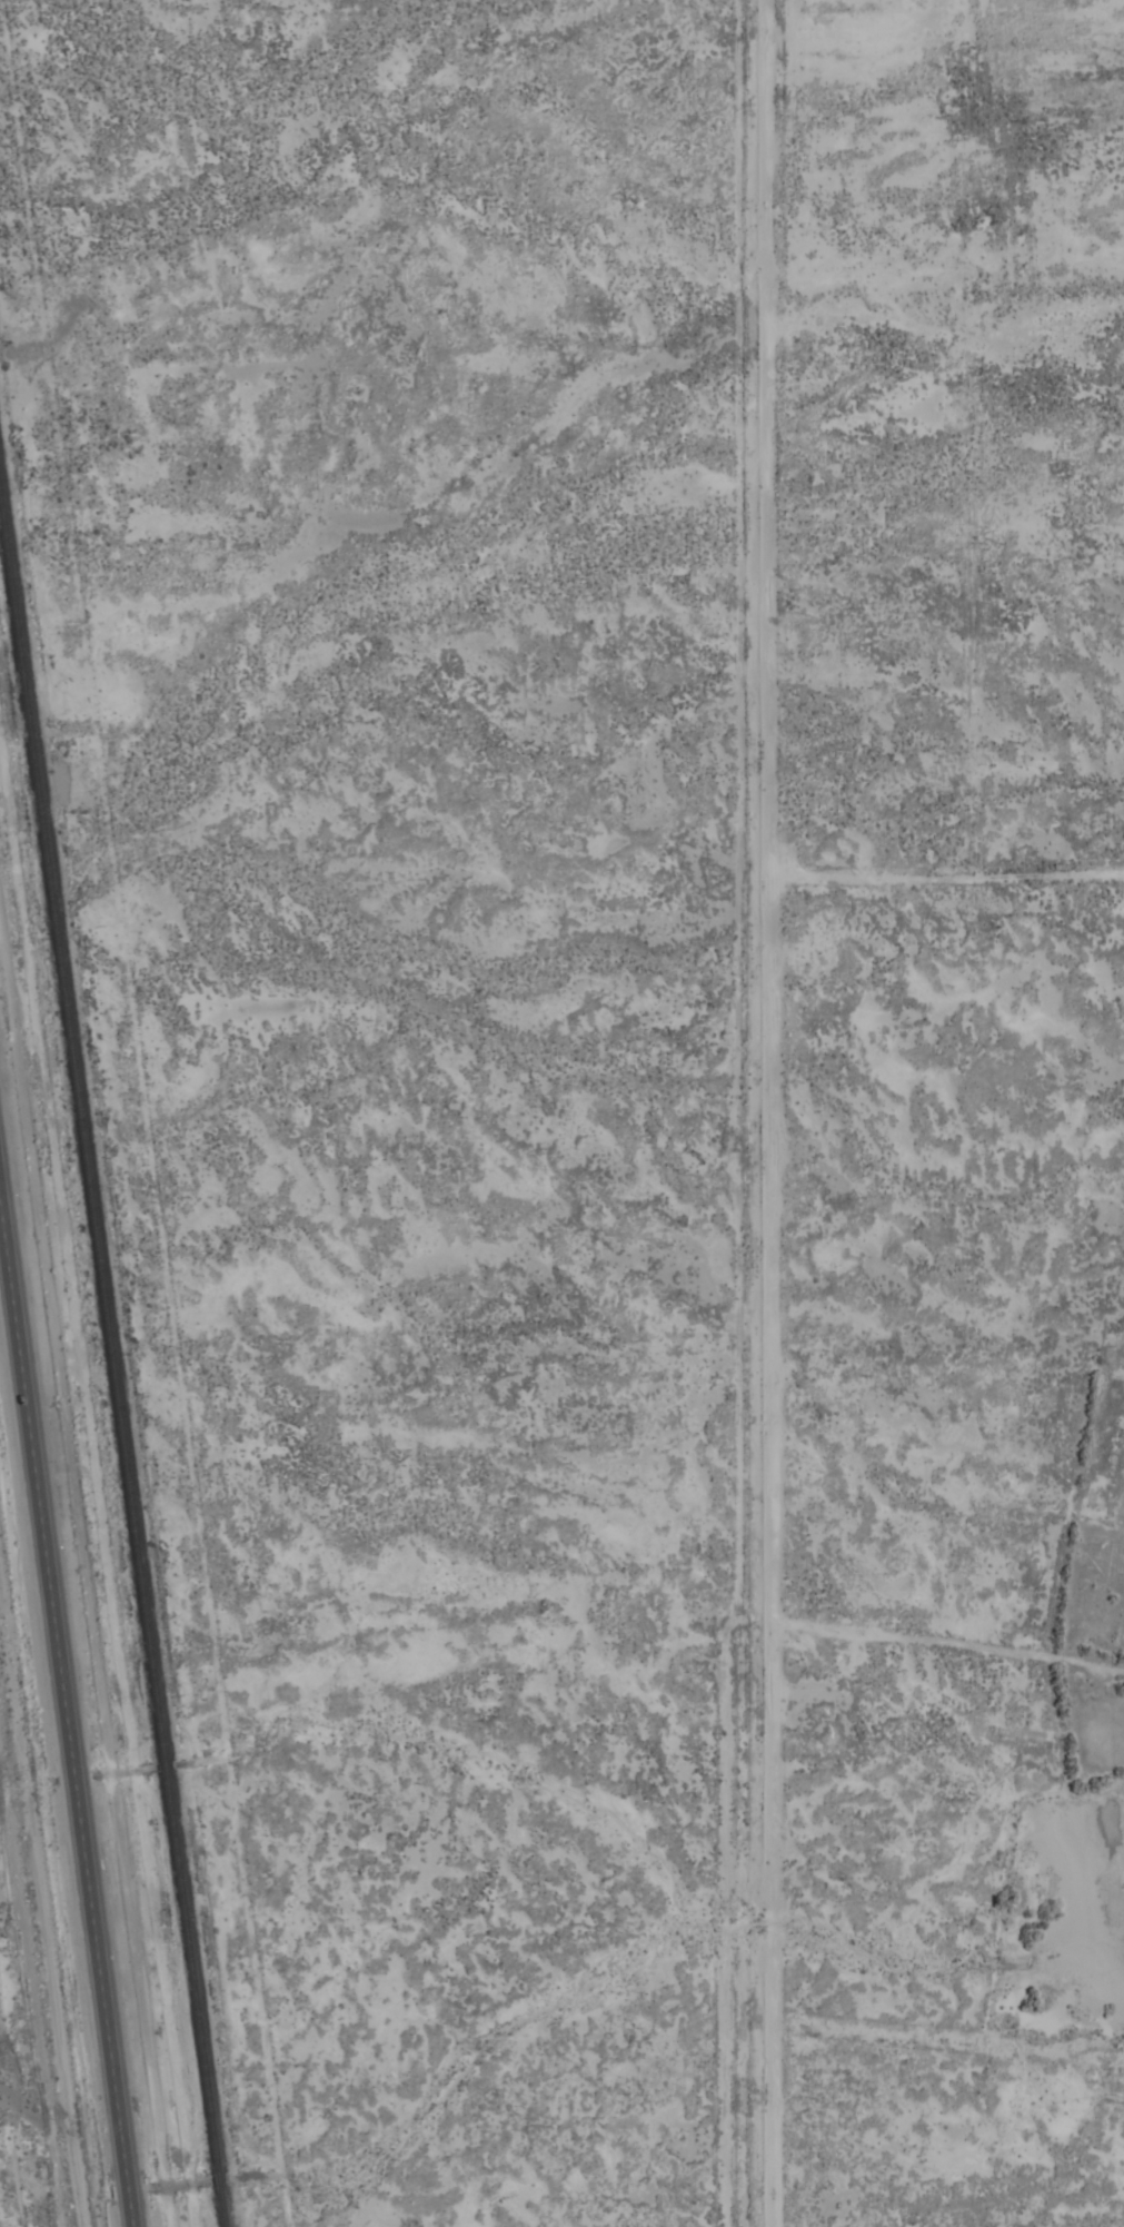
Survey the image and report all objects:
road: (746, 1113)
railway: (81, 1130)
road: (67, 1719)
railway: (163, 1764)
railway: (190, 1970)
wastewater plant: (28, 2020)
railway: (218, 2180)
railway: (222, 2208)

